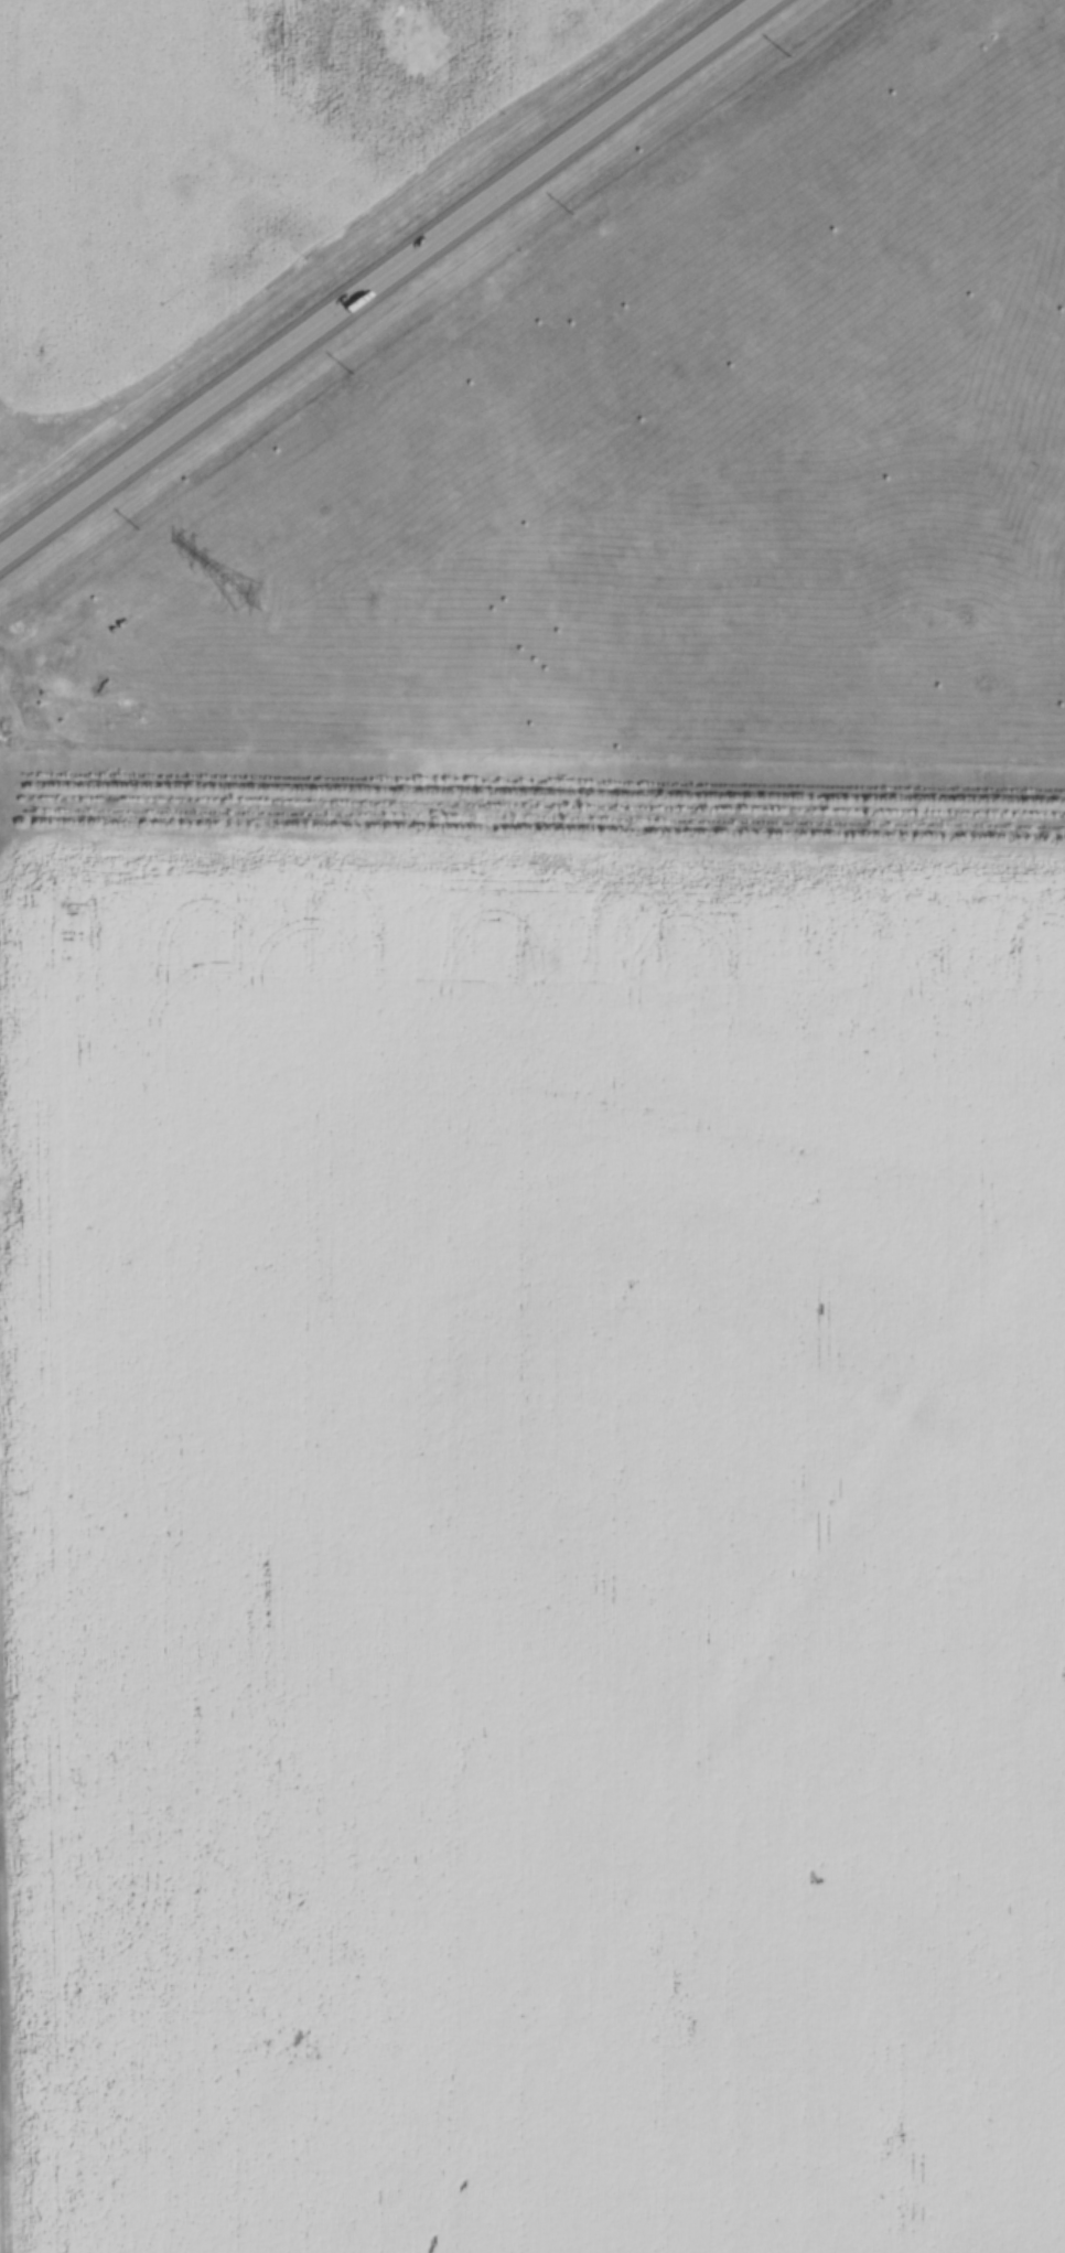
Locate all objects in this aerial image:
road: (384, 279)
power tower: (245, 597)

